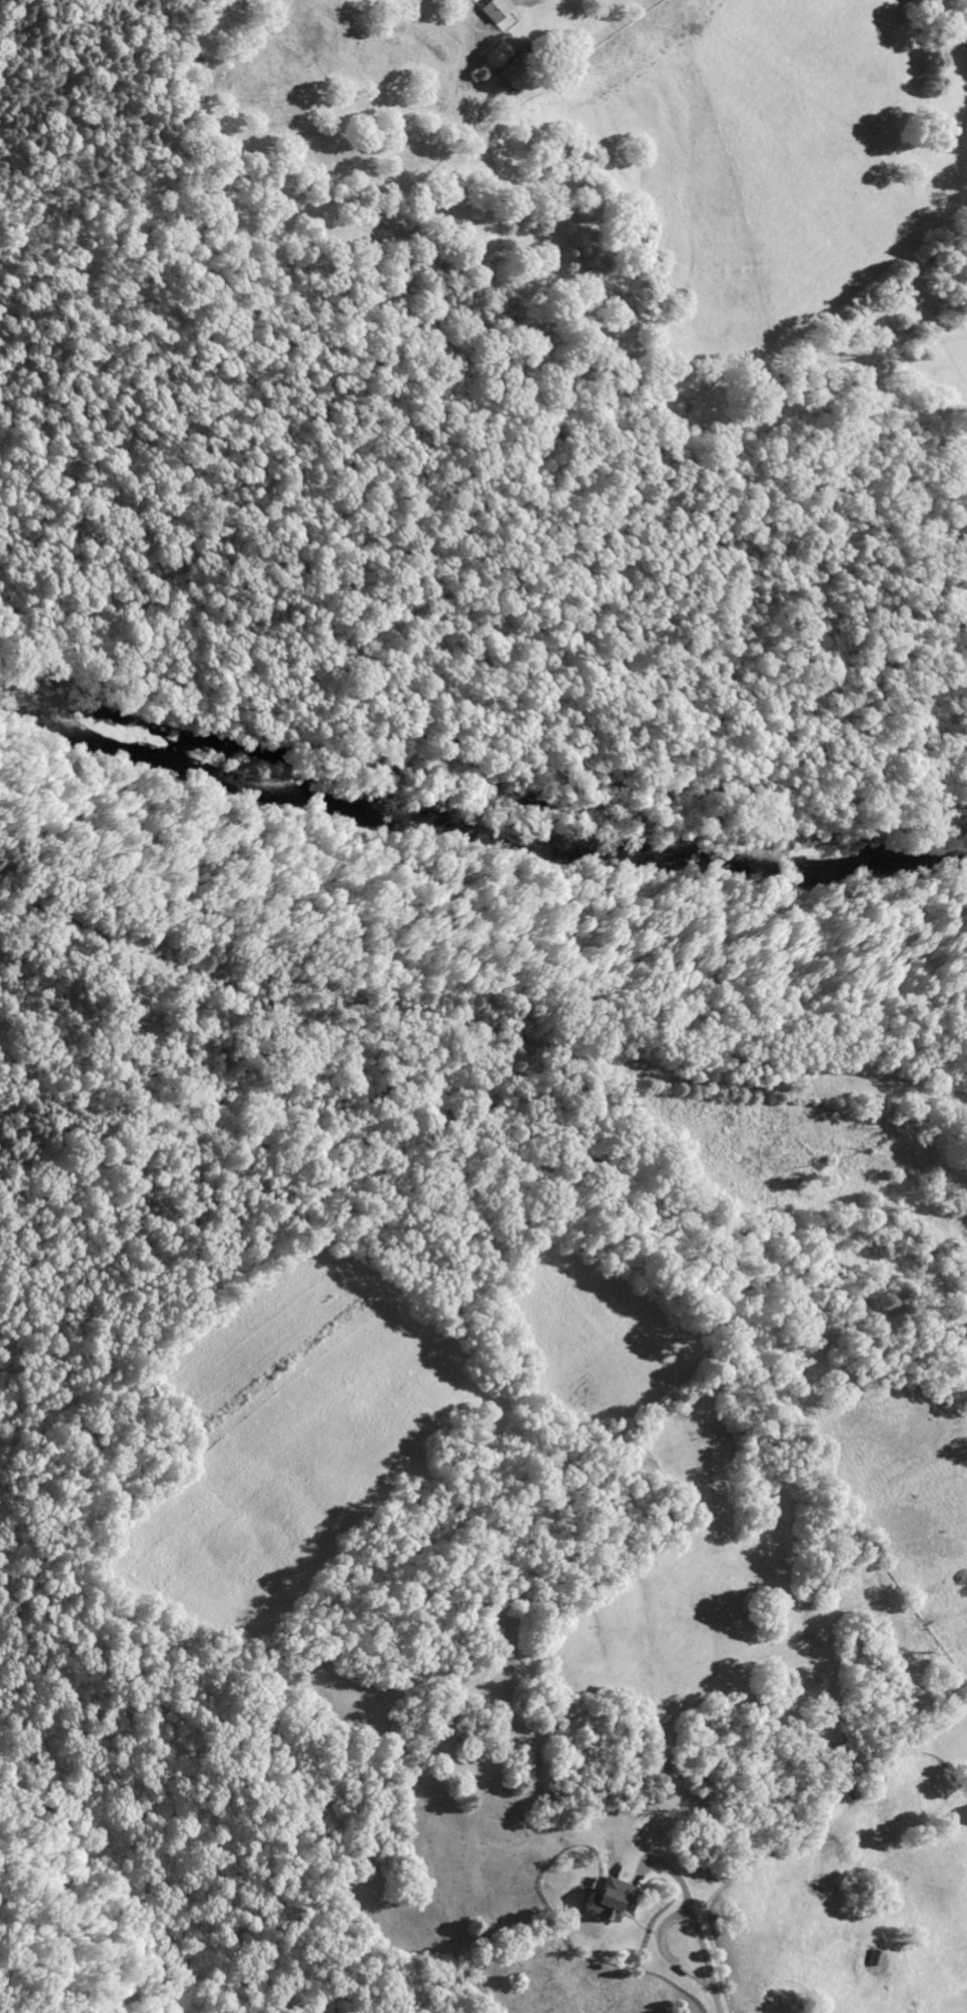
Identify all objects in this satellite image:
building: (494, 10)
building: (501, 81)
river: (475, 826)
building: (604, 1900)
road: (662, 1923)
road: (711, 2002)

